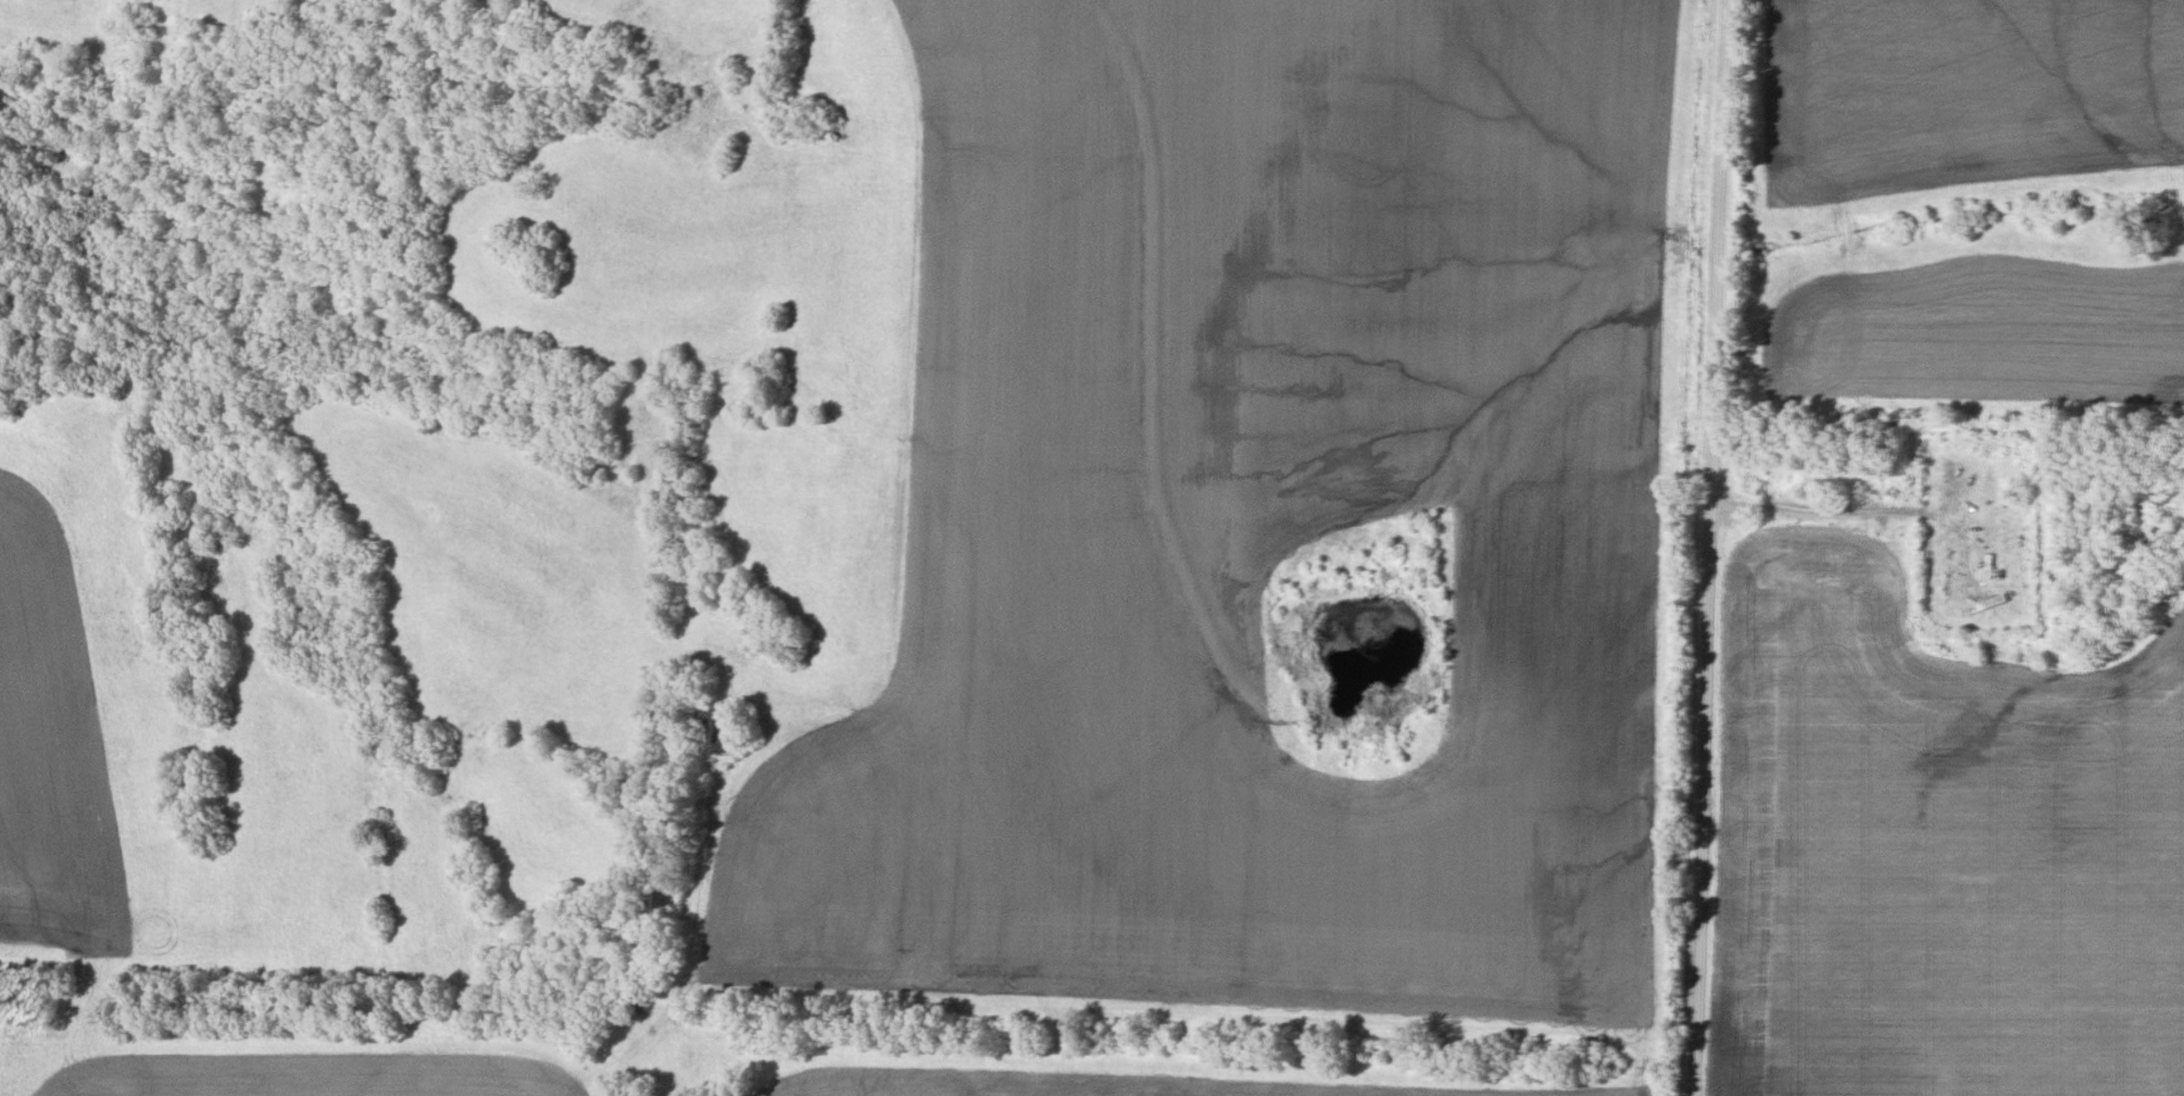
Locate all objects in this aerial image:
crop: (1960, 93)
road: (1723, 130)
road: (1816, 509)
crop: (1255, 521)
building: (1992, 591)
road: (1708, 678)
building: (716, 733)
crop: (50, 756)
crop: (1934, 848)
building: (666, 908)
crop: (316, 1075)
crop: (1181, 1084)

